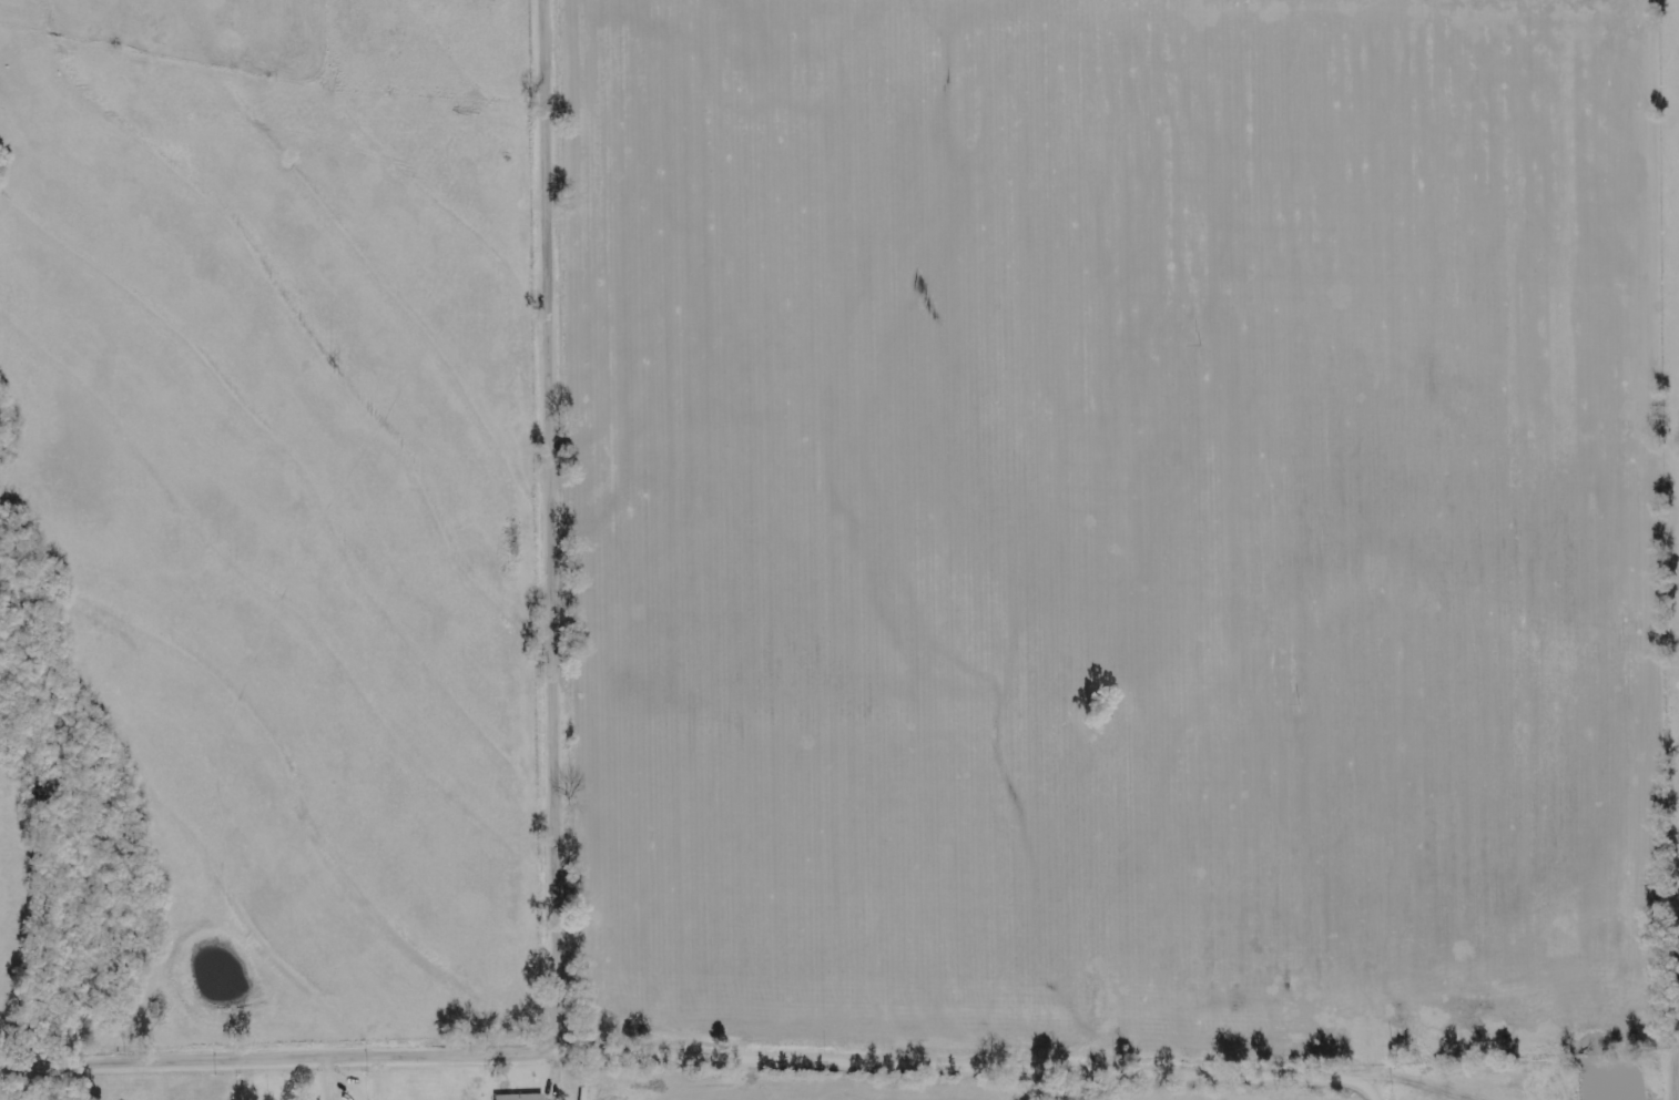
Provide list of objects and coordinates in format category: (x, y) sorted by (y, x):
road: (558, 527)
road: (692, 1059)
building: (525, 1097)

